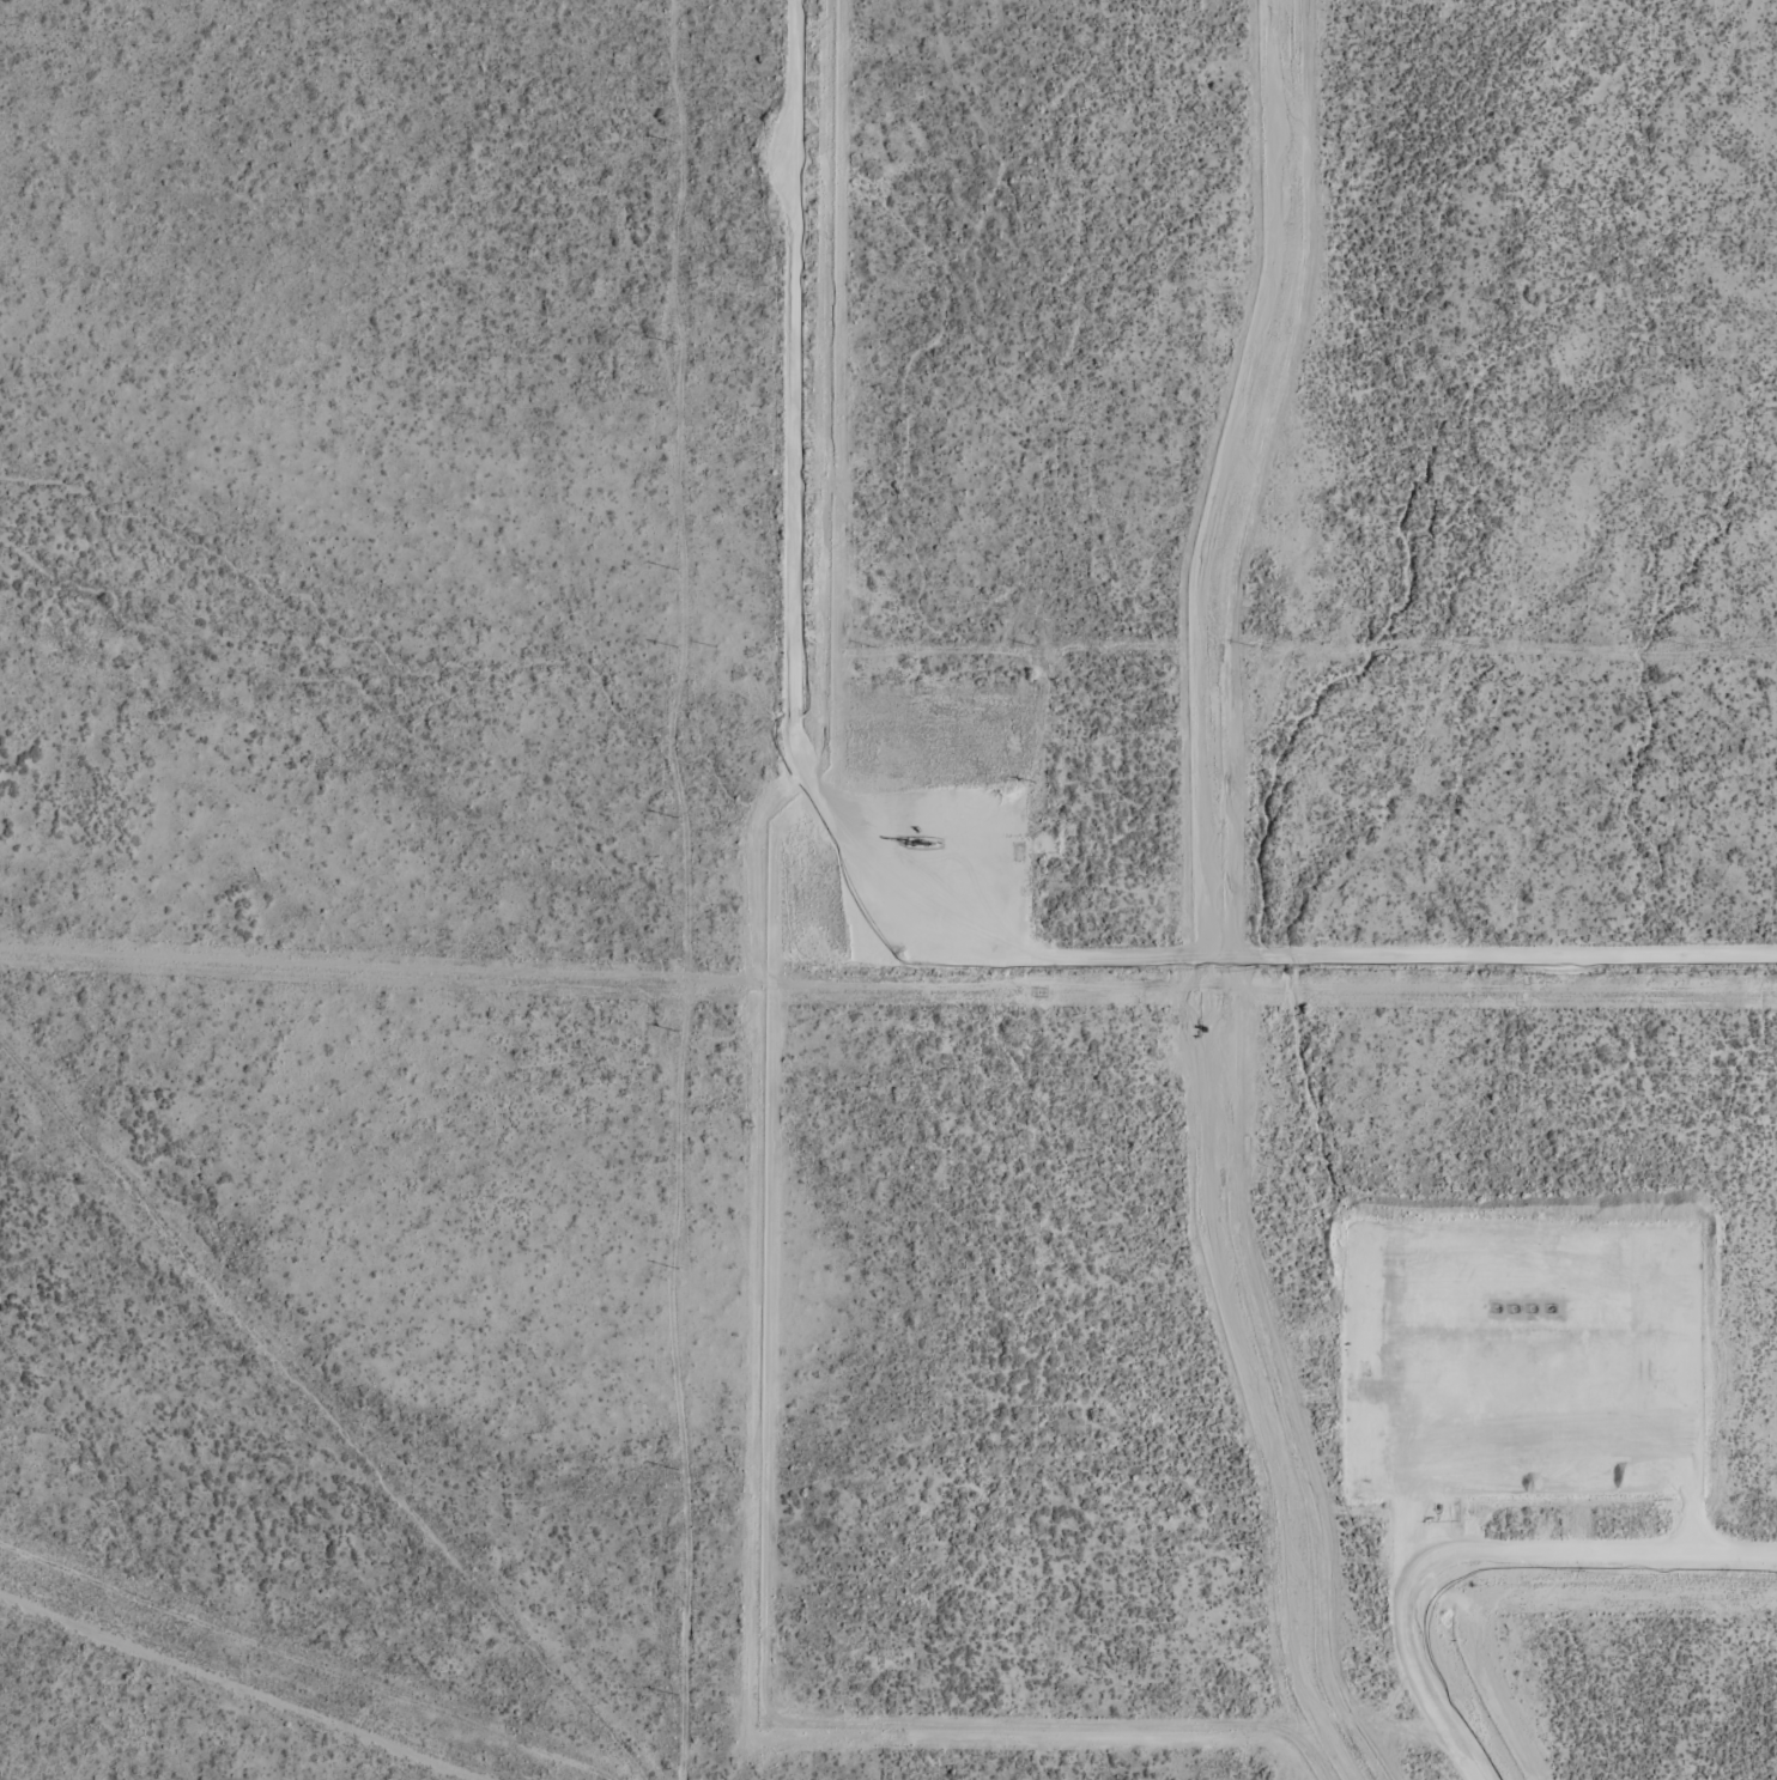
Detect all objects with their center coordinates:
petroleum well: (915, 838)
road: (868, 915)
petroleum well: (1493, 1305)
petroleum well: (1511, 1305)
petroleum well: (1529, 1305)
petroleum well: (1548, 1305)
road: (1626, 1391)
road: (1478, 1563)

